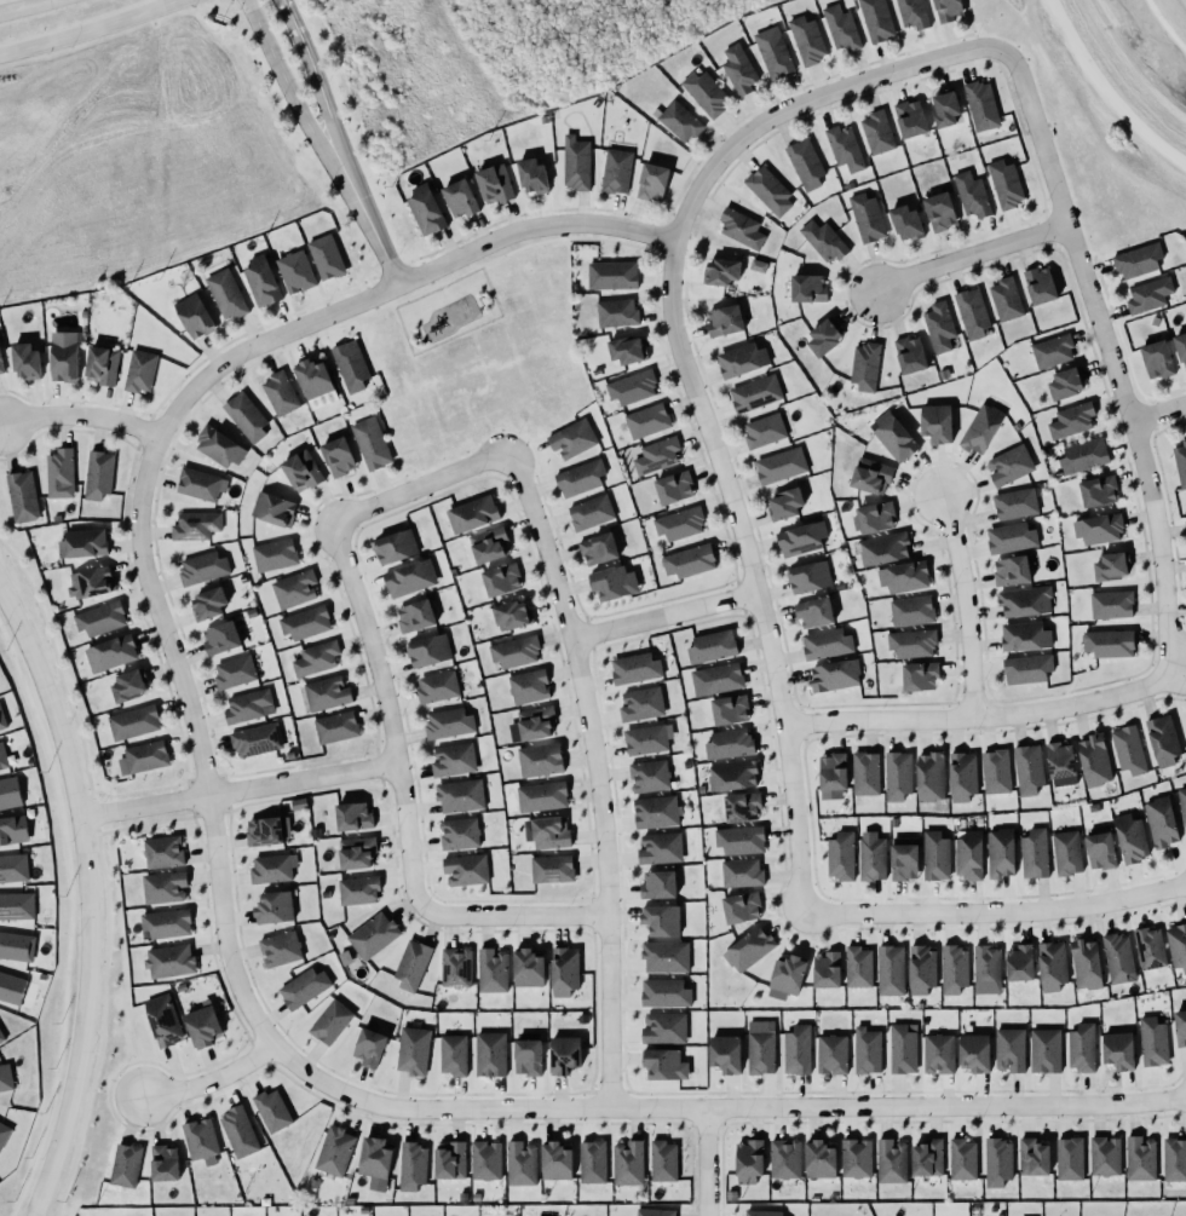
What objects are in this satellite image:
road: (35, 10)
building: (946, 10)
building: (911, 13)
building: (875, 19)
building: (841, 28)
road: (87, 31)
building: (807, 40)
building: (773, 52)
building: (738, 69)
road: (313, 75)
road: (283, 81)
building: (703, 92)
road: (817, 94)
building: (980, 104)
building: (945, 109)
building: (910, 119)
building: (679, 121)
building: (876, 132)
building: (845, 149)
building: (575, 165)
building: (806, 165)
building: (616, 171)
building: (530, 175)
building: (651, 181)
road: (684, 181)
building: (493, 183)
building: (1004, 183)
building: (767, 190)
building: (972, 194)
building: (457, 197)
building: (424, 209)
building: (939, 212)
building: (864, 217)
road: (367, 219)
road: (662, 221)
building: (904, 221)
building: (741, 227)
road: (658, 238)
building: (822, 238)
road: (614, 242)
road: (655, 253)
road: (503, 255)
building: (326, 257)
road: (974, 257)
building: (1138, 260)
building: (295, 271)
building: (722, 271)
building: (611, 275)
building: (259, 279)
road: (397, 283)
building: (1041, 286)
building: (806, 288)
road: (466, 292)
road: (443, 293)
building: (225, 295)
building: (1148, 295)
building: (1004, 298)
road: (388, 307)
park: (444, 310)
building: (617, 312)
building: (969, 312)
road: (421, 313)
building: (191, 317)
building: (722, 321)
building: (939, 327)
building: (822, 336)
building: (1181, 348)
building: (626, 350)
building: (1050, 350)
building: (910, 355)
building: (63, 356)
building: (1157, 358)
building: (24, 359)
building: (742, 359)
road: (1119, 359)
building: (99, 364)
building: (351, 365)
building: (864, 365)
building: (0, 368)
building: (140, 370)
building: (313, 379)
building: (1065, 384)
building: (632, 387)
building: (278, 392)
building: (755, 393)
road: (1162, 411)
road: (80, 414)
building: (247, 415)
building: (646, 420)
building: (1071, 420)
building: (935, 422)
building: (979, 427)
building: (764, 431)
building: (893, 436)
building: (572, 438)
building: (368, 443)
building: (217, 445)
building: (656, 455)
building: (1082, 455)
building: (338, 456)
building: (1180, 462)
building: (1008, 463)
building: (779, 465)
building: (301, 471)
building: (58, 472)
building: (97, 476)
building: (869, 476)
building: (580, 478)
building: (198, 483)
road: (420, 486)
building: (674, 488)
building: (1096, 490)
building: (21, 496)
building: (1015, 503)
building: (784, 505)
building: (274, 508)
building: (588, 512)
building: (470, 513)
building: (871, 517)
building: (679, 523)
building: (192, 525)
building: (1096, 528)
building: (799, 537)
building: (1009, 537)
building: (82, 543)
building: (488, 543)
building: (395, 546)
building: (597, 548)
building: (883, 548)
building: (274, 554)
building: (689, 561)
building: (1109, 566)
building: (202, 567)
building: (1011, 570)
road: (750, 572)
building: (902, 575)
building: (806, 576)
building: (409, 578)
building: (501, 580)
building: (88, 582)
building: (609, 583)
building: (294, 588)
building: (1025, 601)
building: (206, 604)
building: (1109, 604)
road: (966, 605)
building: (911, 611)
building: (814, 612)
building: (512, 615)
road: (664, 615)
building: (414, 616)
building: (99, 618)
building: (303, 622)
building: (1023, 635)
building: (219, 638)
building: (1106, 641)
building: (825, 642)
building: (911, 642)
building: (710, 646)
building: (426, 650)
building: (514, 651)
building: (109, 653)
building: (316, 658)
building: (633, 668)
building: (1026, 668)
building: (232, 670)
building: (835, 675)
building: (920, 676)
building: (716, 679)
building: (125, 685)
building: (436, 686)
building: (529, 686)
building: (324, 693)
building: (640, 703)
building: (247, 705)
building: (730, 709)
road: (978, 716)
building: (2, 720)
building: (132, 722)
building: (449, 722)
building: (534, 722)
building: (334, 727)
building: (1185, 727)
building: (253, 739)
building: (647, 739)
building: (1161, 739)
building: (727, 743)
building: (1127, 749)
building: (2, 756)
building: (142, 757)
building: (451, 759)
building: (540, 759)
building: (1060, 760)
building: (1092, 760)
building: (1026, 768)
building: (994, 771)
building: (831, 772)
road: (595, 773)
building: (865, 773)
building: (731, 774)
building: (896, 774)
building: (649, 776)
building: (928, 776)
building: (961, 776)
road: (237, 789)
building: (8, 793)
building: (457, 795)
building: (541, 795)
building: (1181, 803)
road: (403, 806)
building: (742, 806)
building: (655, 811)
building: (353, 816)
building: (1159, 820)
building: (264, 828)
building: (13, 830)
building: (547, 831)
building: (459, 834)
building: (738, 838)
building: (1129, 838)
building: (355, 848)
building: (660, 848)
building: (161, 849)
building: (1099, 852)
building: (998, 853)
building: (1032, 853)
building: (1065, 853)
building: (933, 854)
building: (840, 855)
building: (967, 855)
building: (871, 858)
building: (903, 860)
building: (13, 868)
building: (272, 869)
building: (552, 869)
building: (465, 870)
building: (741, 872)
building: (657, 884)
building: (162, 888)
building: (356, 888)
road: (87, 899)
building: (271, 904)
building: (16, 905)
building: (742, 907)
road: (995, 912)
building: (660, 920)
building: (163, 921)
building: (370, 933)
building: (1176, 944)
building: (16, 946)
building: (1150, 947)
building: (280, 949)
building: (749, 949)
building: (664, 956)
building: (344, 957)
building: (1118, 958)
building: (167, 959)
building: (1018, 959)
building: (1049, 959)
building: (409, 962)
building: (984, 963)
building: (856, 964)
building: (921, 966)
building: (951, 966)
building: (455, 967)
building: (824, 967)
building: (1084, 967)
building: (528, 968)
building: (888, 968)
building: (491, 970)
building: (564, 972)
building: (787, 972)
building: (301, 985)
building: (11, 989)
building: (664, 993)
building: (163, 1019)
building: (330, 1021)
building: (202, 1024)
building: (1180, 1025)
building: (663, 1028)
building: (1, 1035)
building: (1151, 1039)
building: (1080, 1045)
building: (369, 1047)
building: (411, 1047)
building: (759, 1047)
building: (900, 1047)
building: (1007, 1047)
building: (795, 1048)
building: (867, 1048)
building: (1043, 1048)
building: (972, 1049)
building: (724, 1050)
building: (935, 1050)
building: (1118, 1050)
building: (451, 1051)
building: (489, 1051)
building: (563, 1051)
building: (830, 1051)
building: (526, 1054)
building: (664, 1064)
building: (5, 1077)
road: (211, 1080)
road: (403, 1107)
building: (272, 1110)
building: (238, 1131)
building: (4, 1133)
building: (201, 1141)
building: (334, 1151)
building: (1102, 1153)
building: (1031, 1154)
building: (926, 1156)
building: (961, 1156)
building: (1067, 1156)
building: (1140, 1156)
building: (819, 1157)
building: (854, 1157)
building: (1174, 1157)
building: (373, 1158)
building: (449, 1158)
building: (484, 1158)
building: (747, 1158)
building: (784, 1158)
building: (519, 1159)
building: (591, 1159)
building: (661, 1159)
building: (891, 1159)
building: (995, 1159)
building: (162, 1160)
building: (627, 1160)
road: (707, 1160)
building: (555, 1162)
building: (123, 1163)
building: (410, 1163)
building: (654, 1212)
building: (760, 1212)

